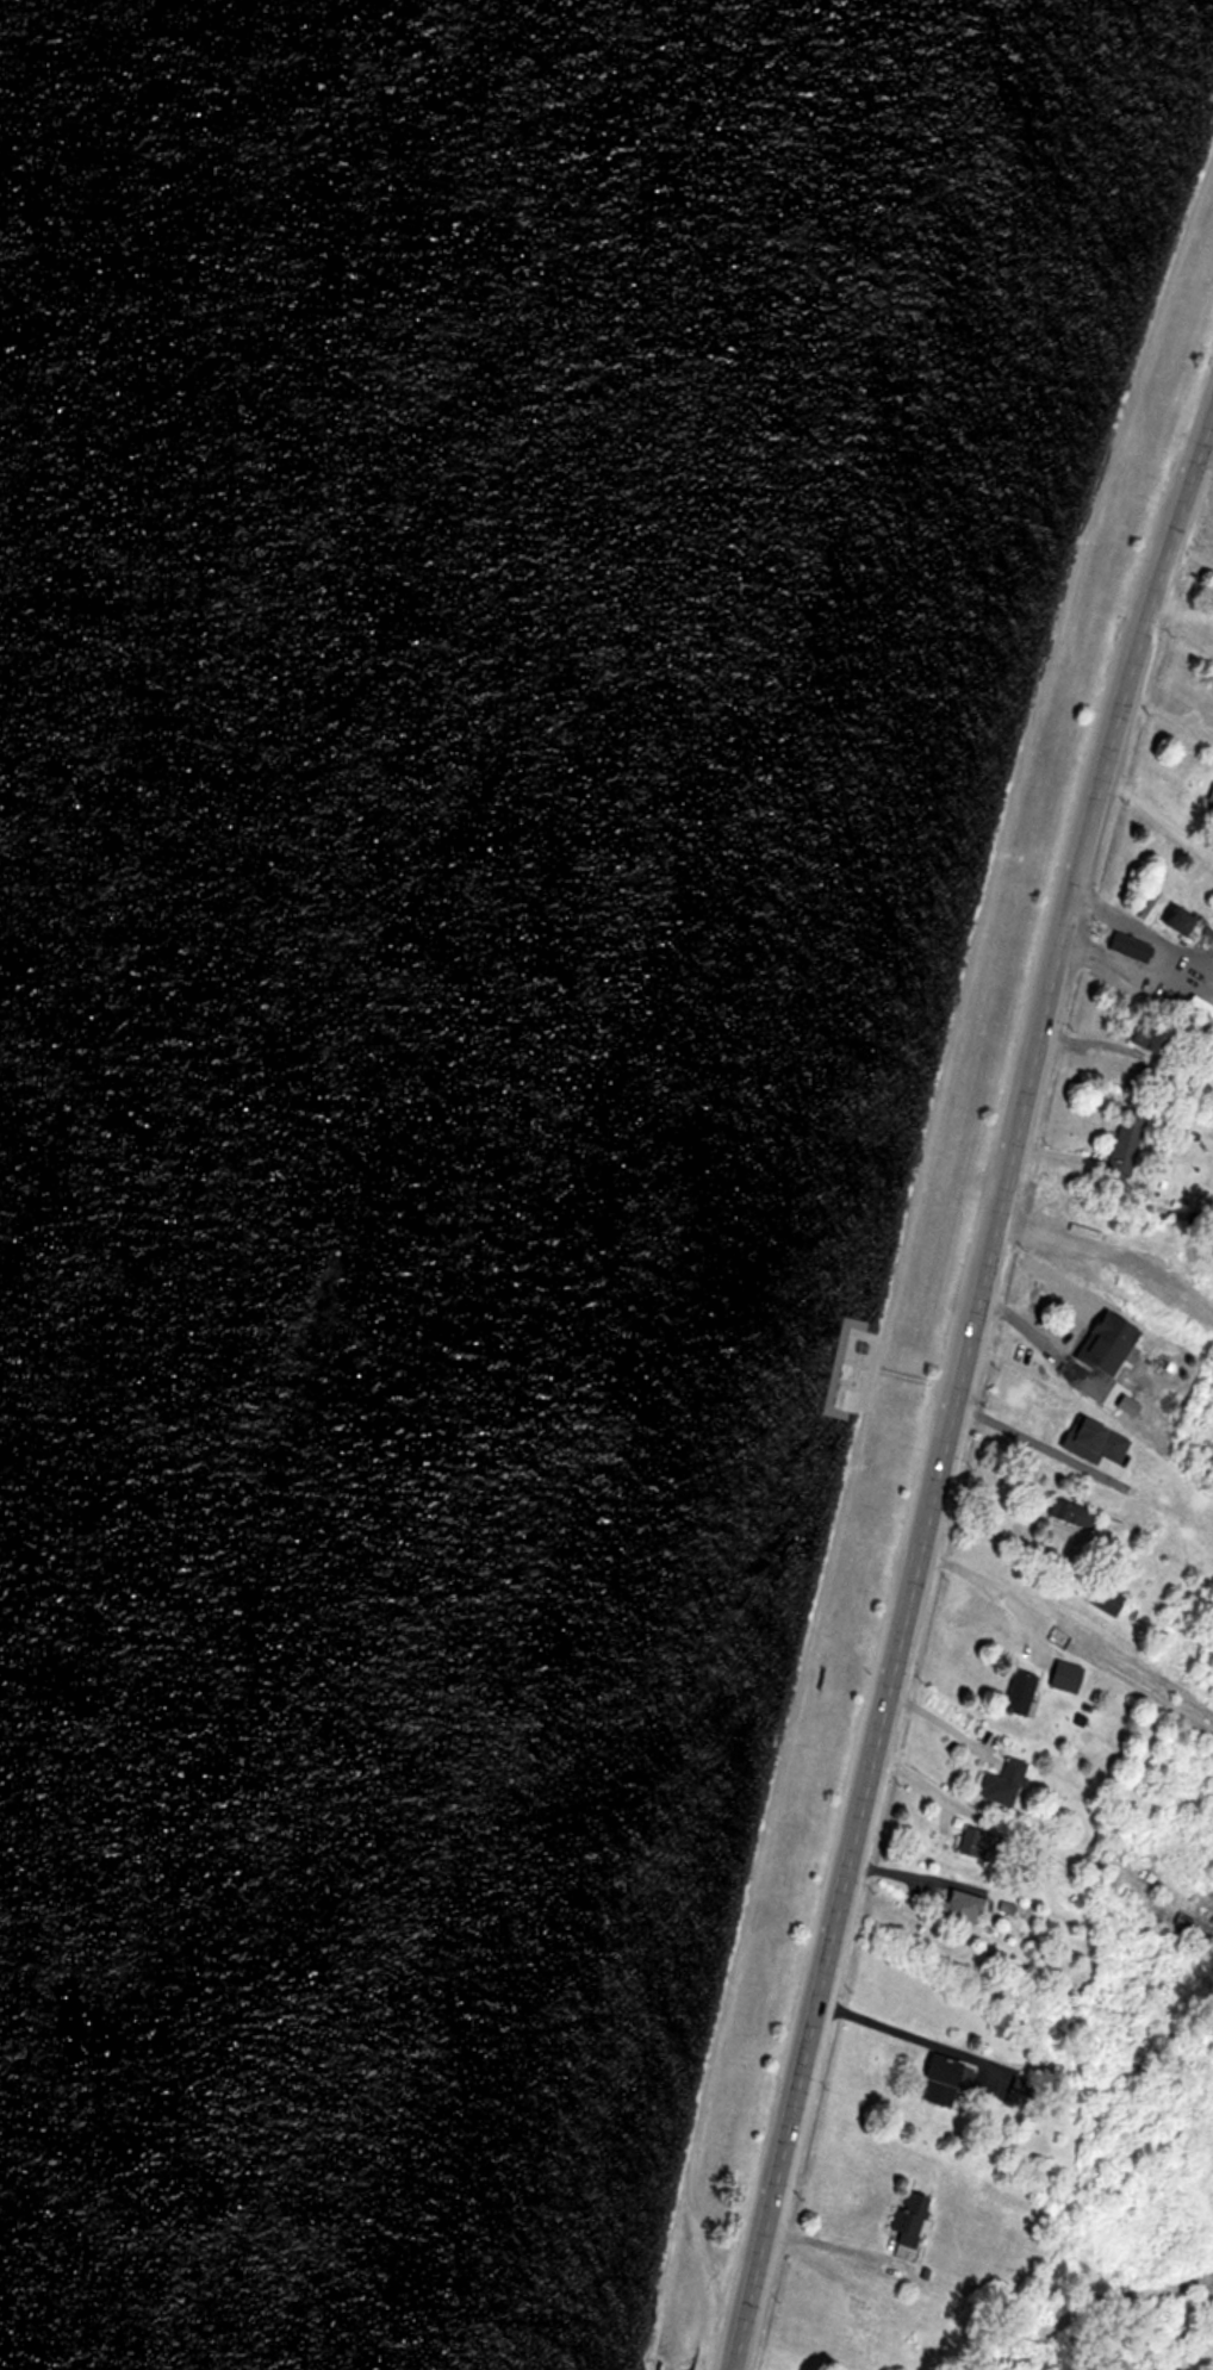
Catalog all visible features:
river: (185, 857)
road: (957, 1388)

